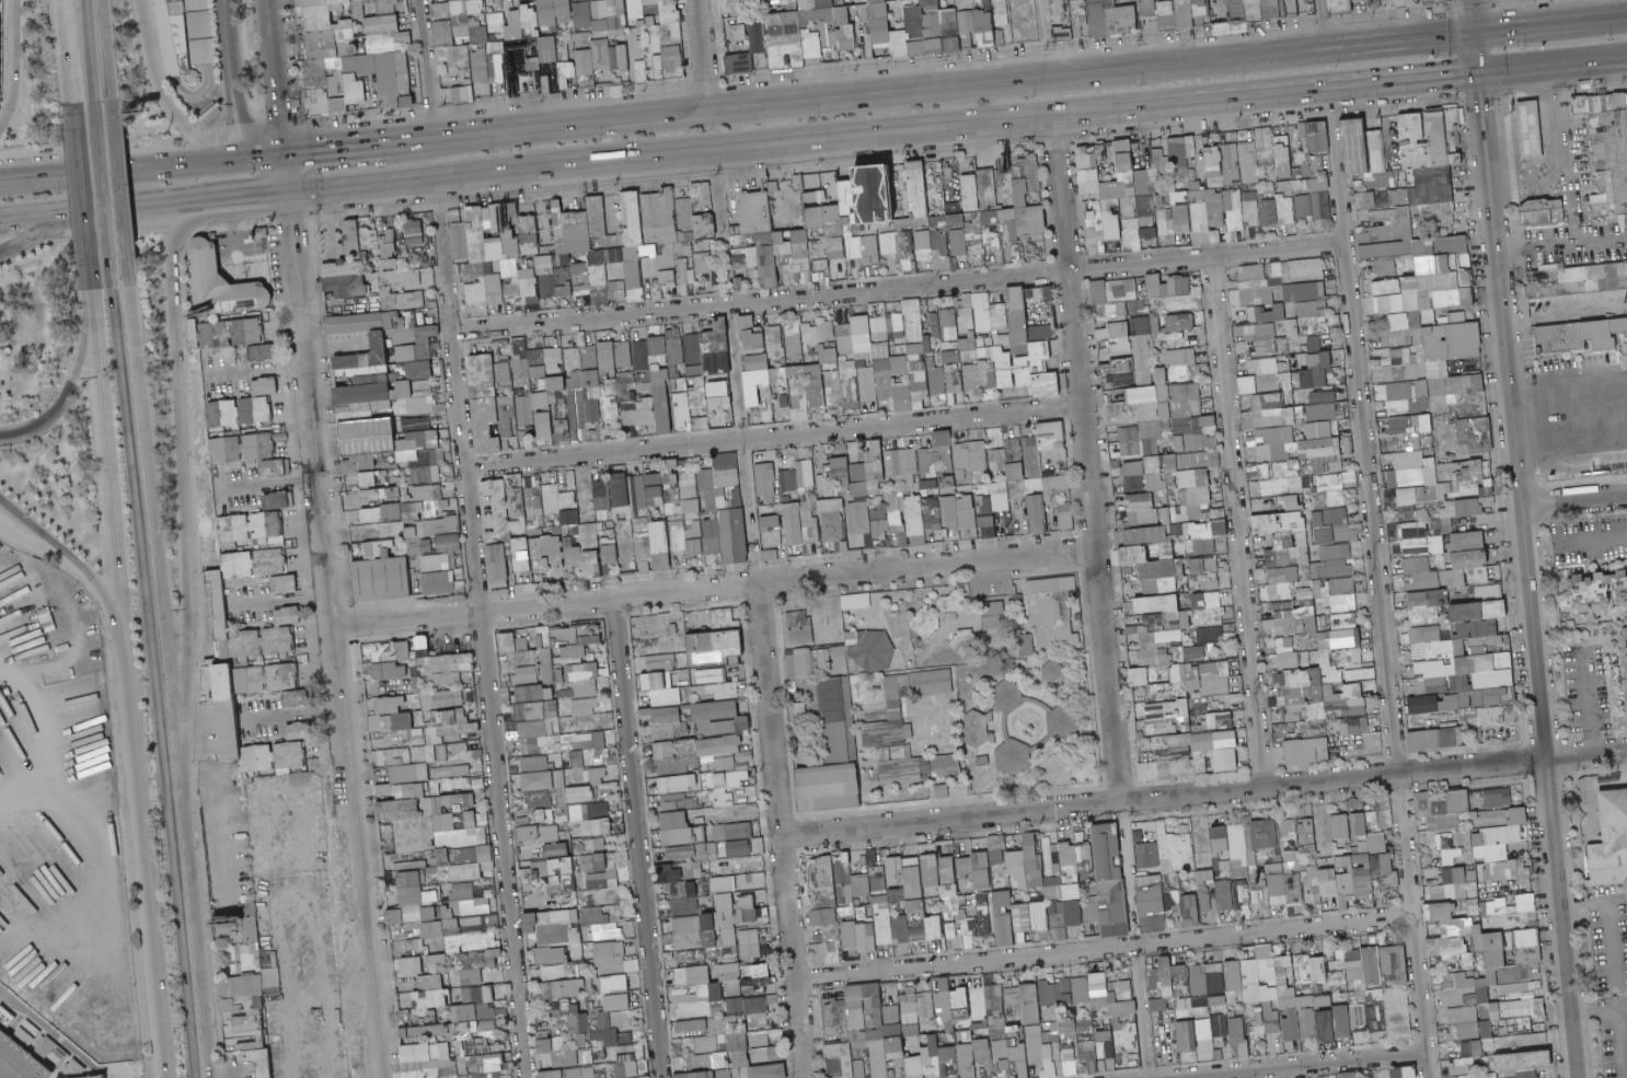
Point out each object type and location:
road: (1473, 14)
road: (1322, 22)
road: (89, 50)
road: (249, 77)
road: (222, 79)
road: (272, 95)
road: (238, 97)
gas station: (1515, 112)
traffic signals: (278, 152)
traffic signals: (284, 192)
parking lot: (127, 1077)

